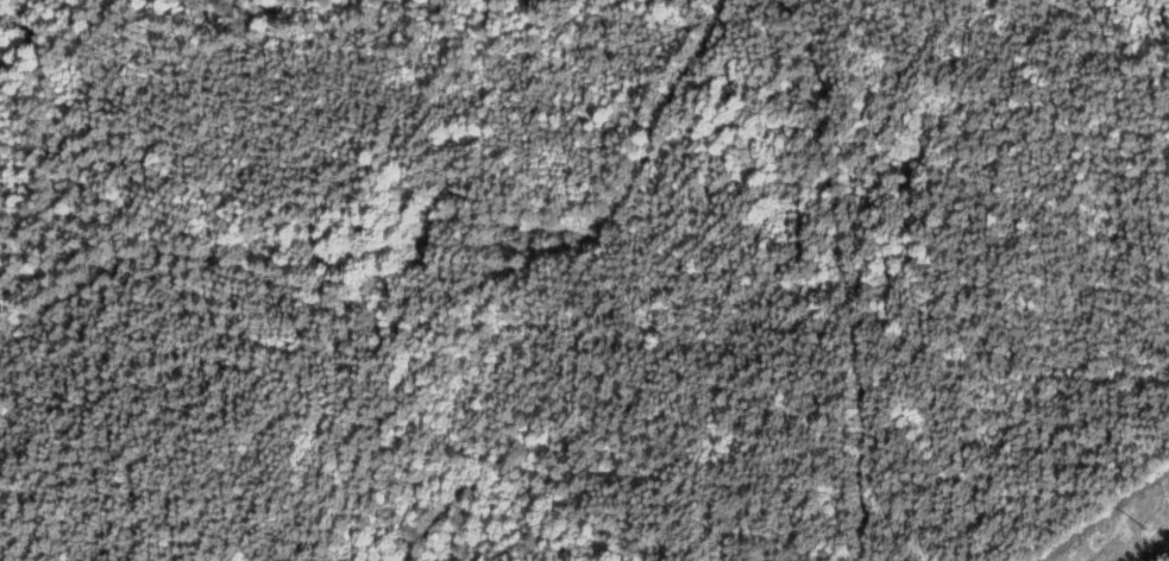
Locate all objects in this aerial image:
power tower: (1148, 530)

